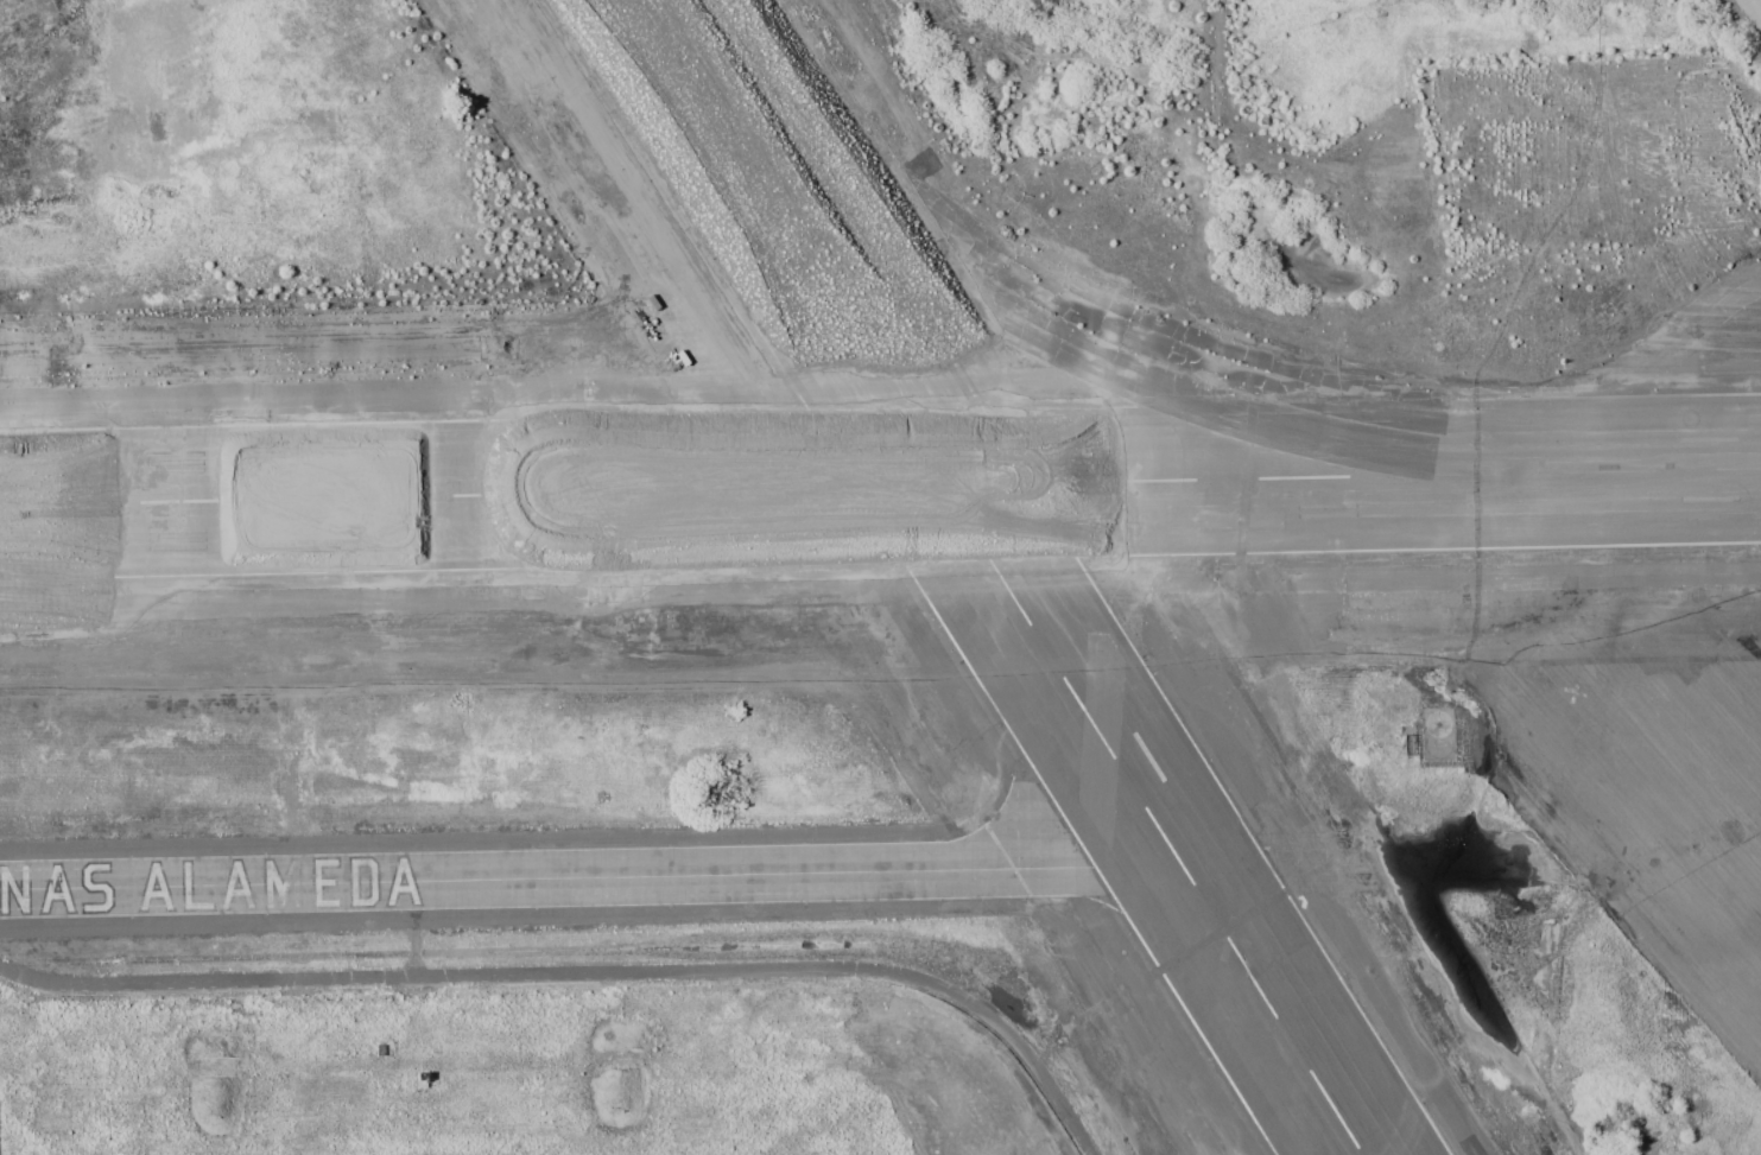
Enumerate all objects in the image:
road: (584, 975)

